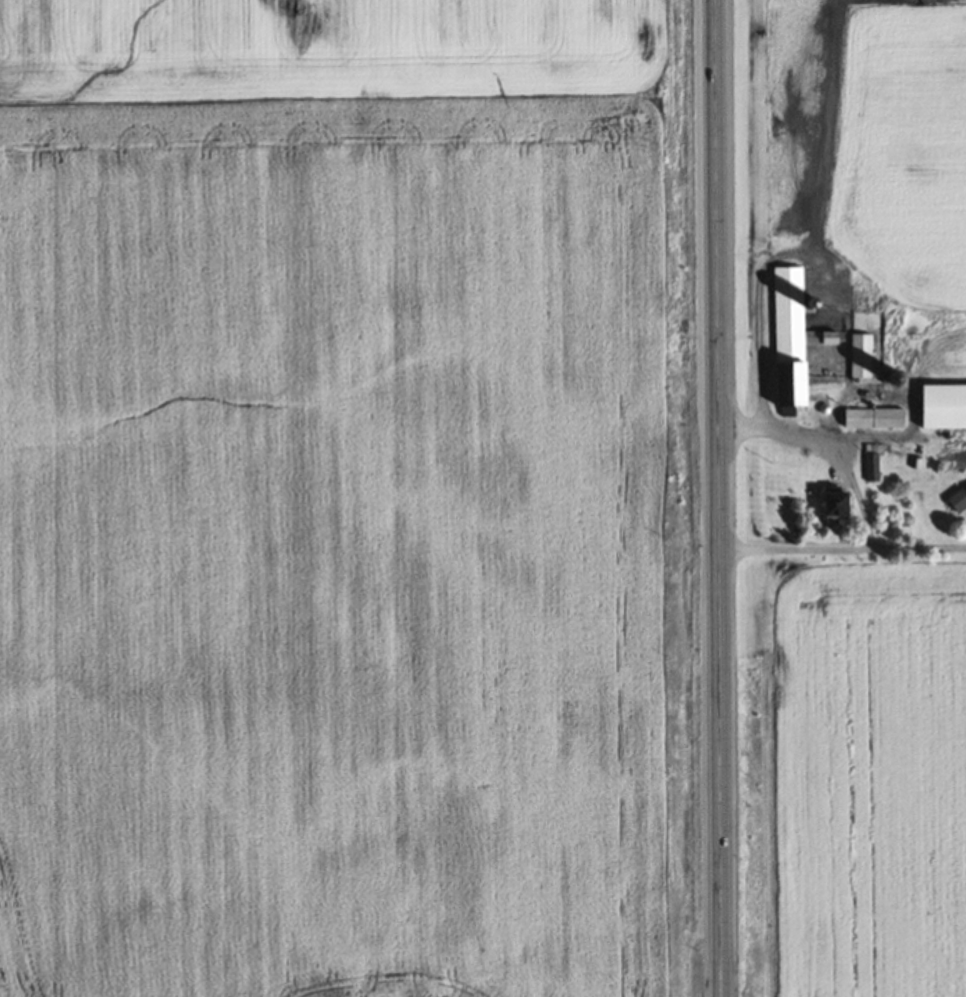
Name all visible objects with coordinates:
building: (791, 340)
building: (860, 355)
building: (943, 406)
building: (872, 418)
building: (871, 462)
road: (717, 498)
building: (957, 499)
building: (833, 502)

